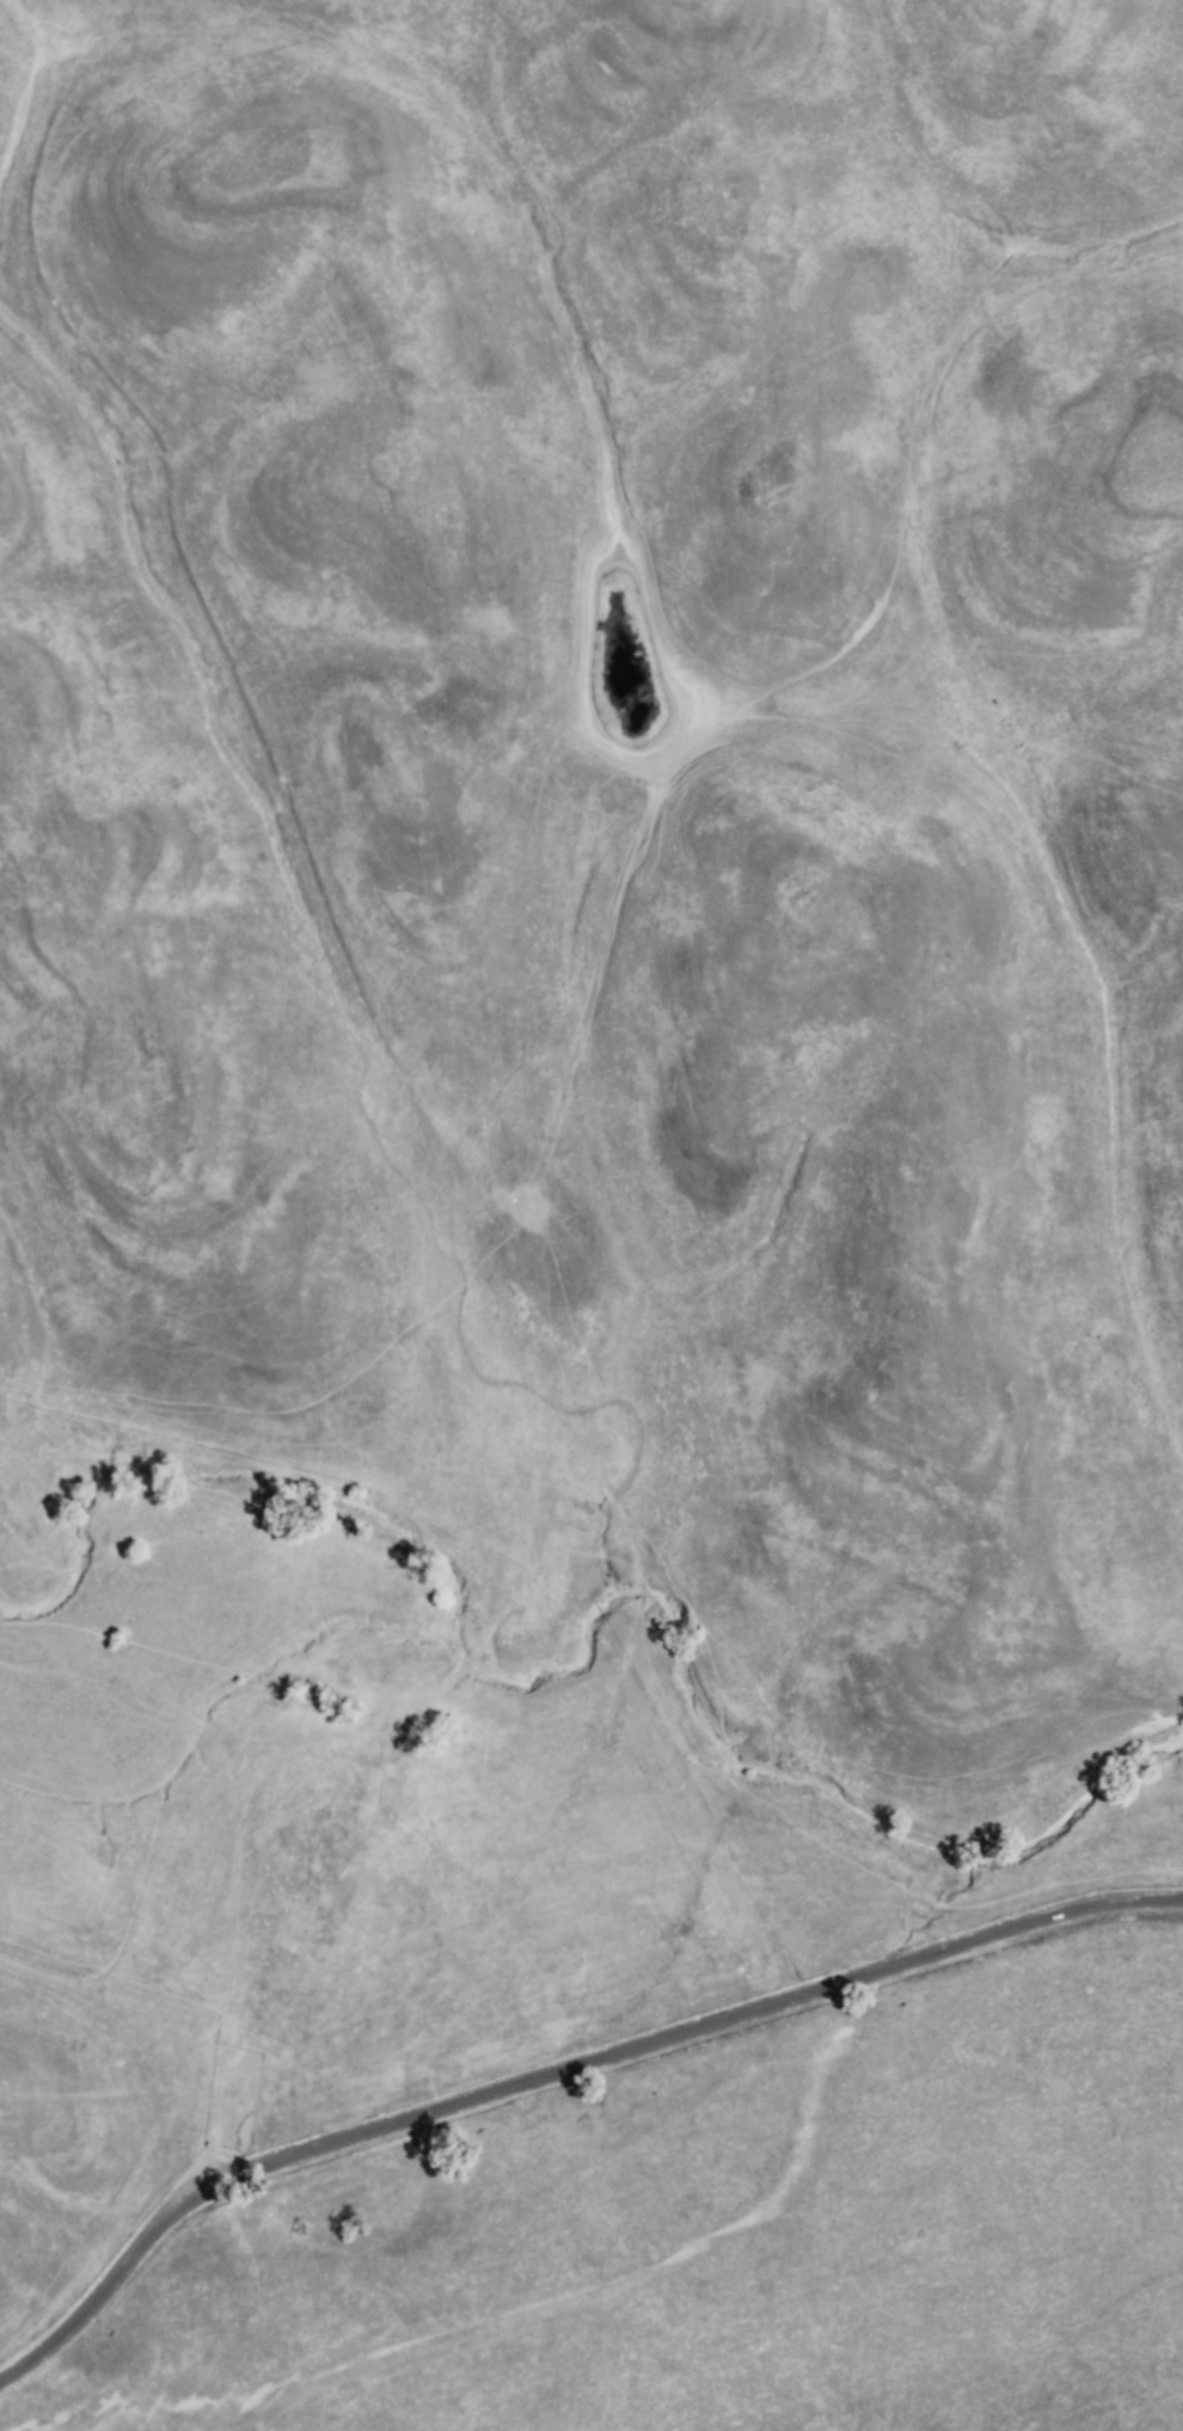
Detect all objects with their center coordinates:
road: (556, 2072)

